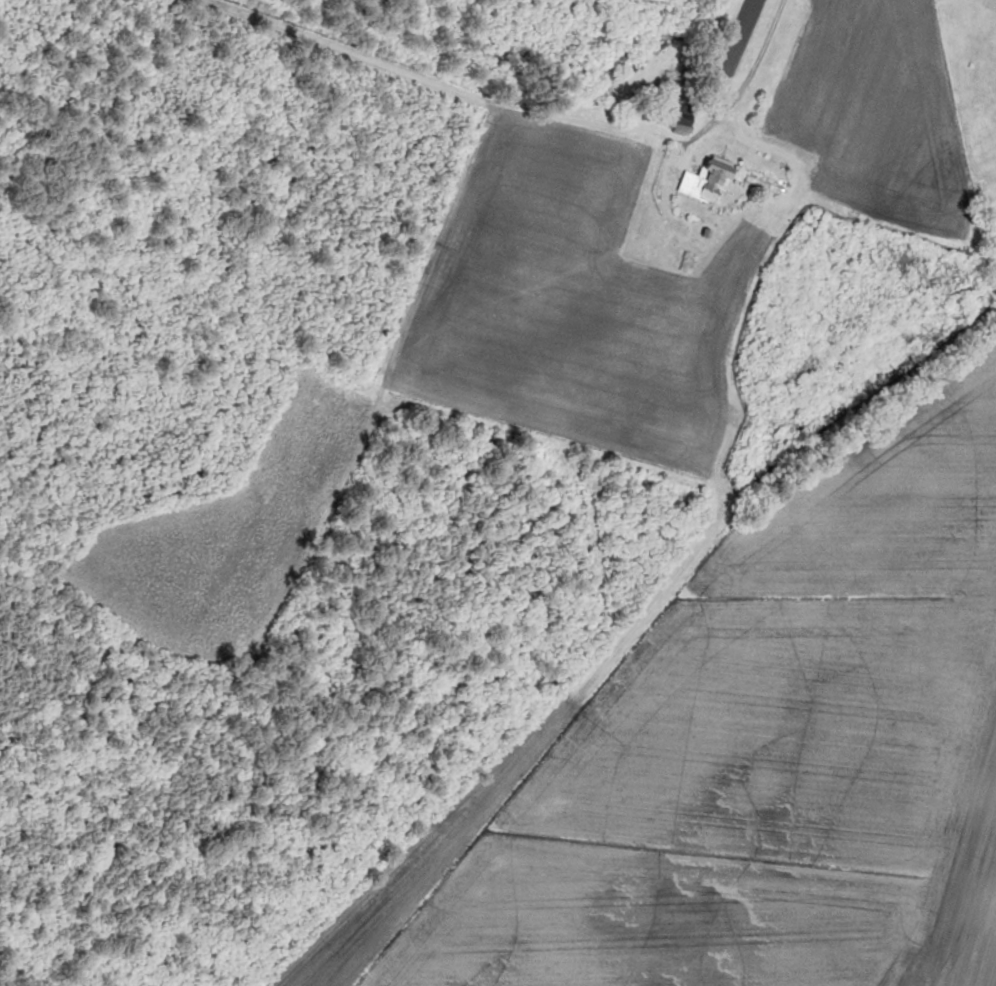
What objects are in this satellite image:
road: (755, 80)
building: (671, 117)
building: (703, 180)

